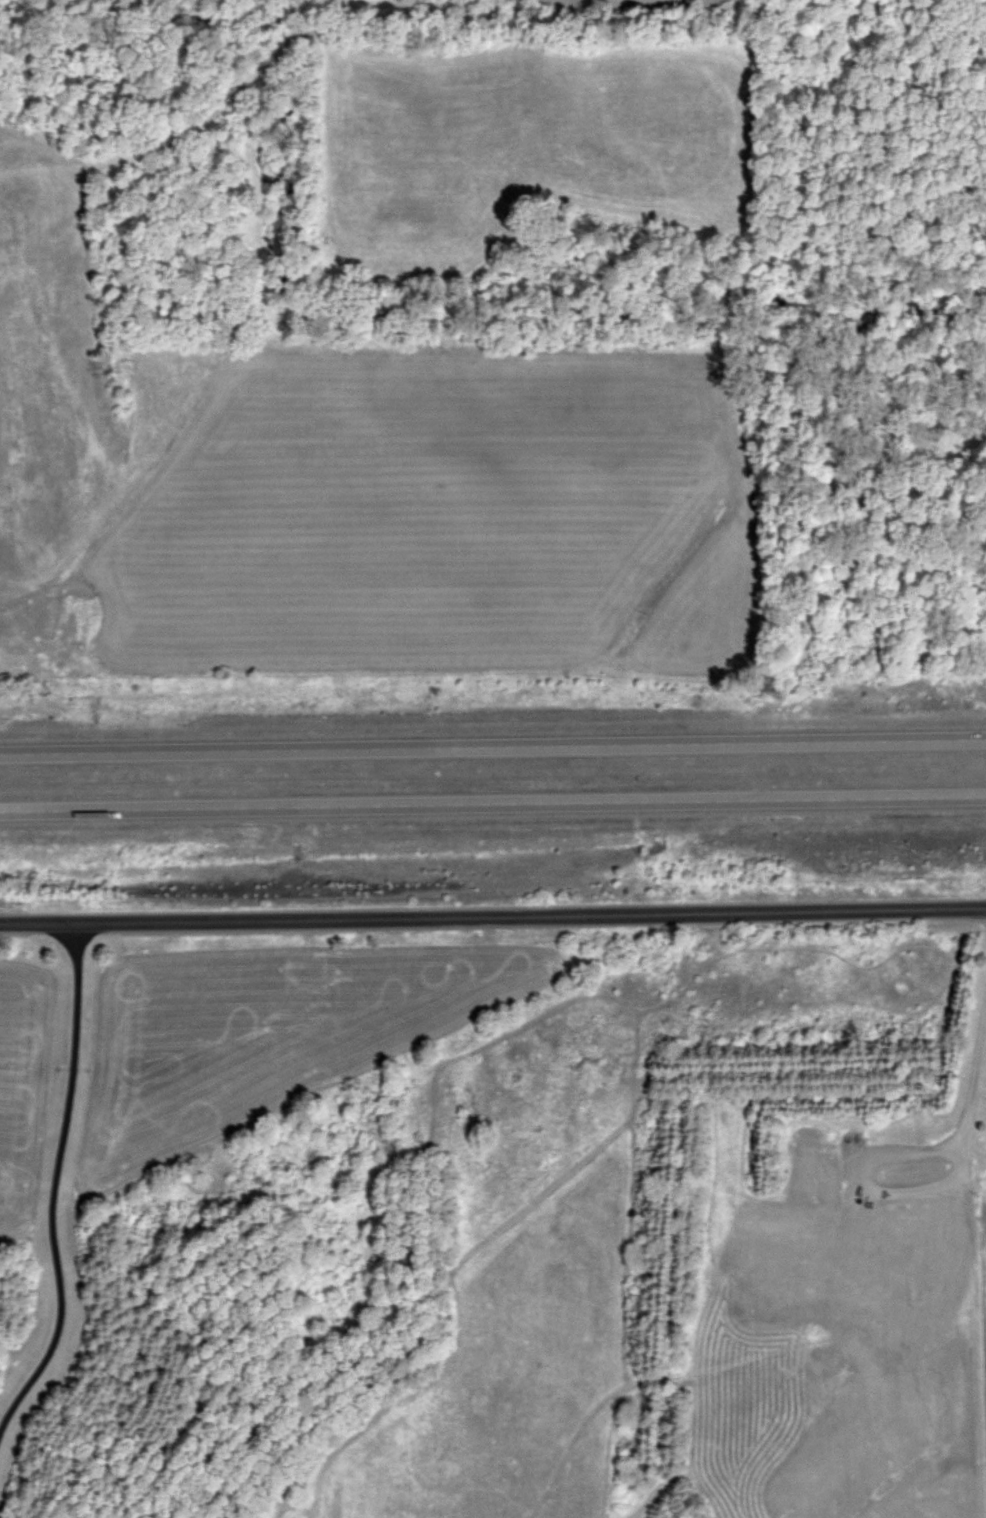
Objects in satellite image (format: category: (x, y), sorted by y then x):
road: (493, 744)
road: (493, 807)
road: (493, 918)
building: (808, 1146)
road: (849, 1171)
road: (53, 1185)
road: (961, 1211)
building: (856, 1230)
building: (809, 1287)

